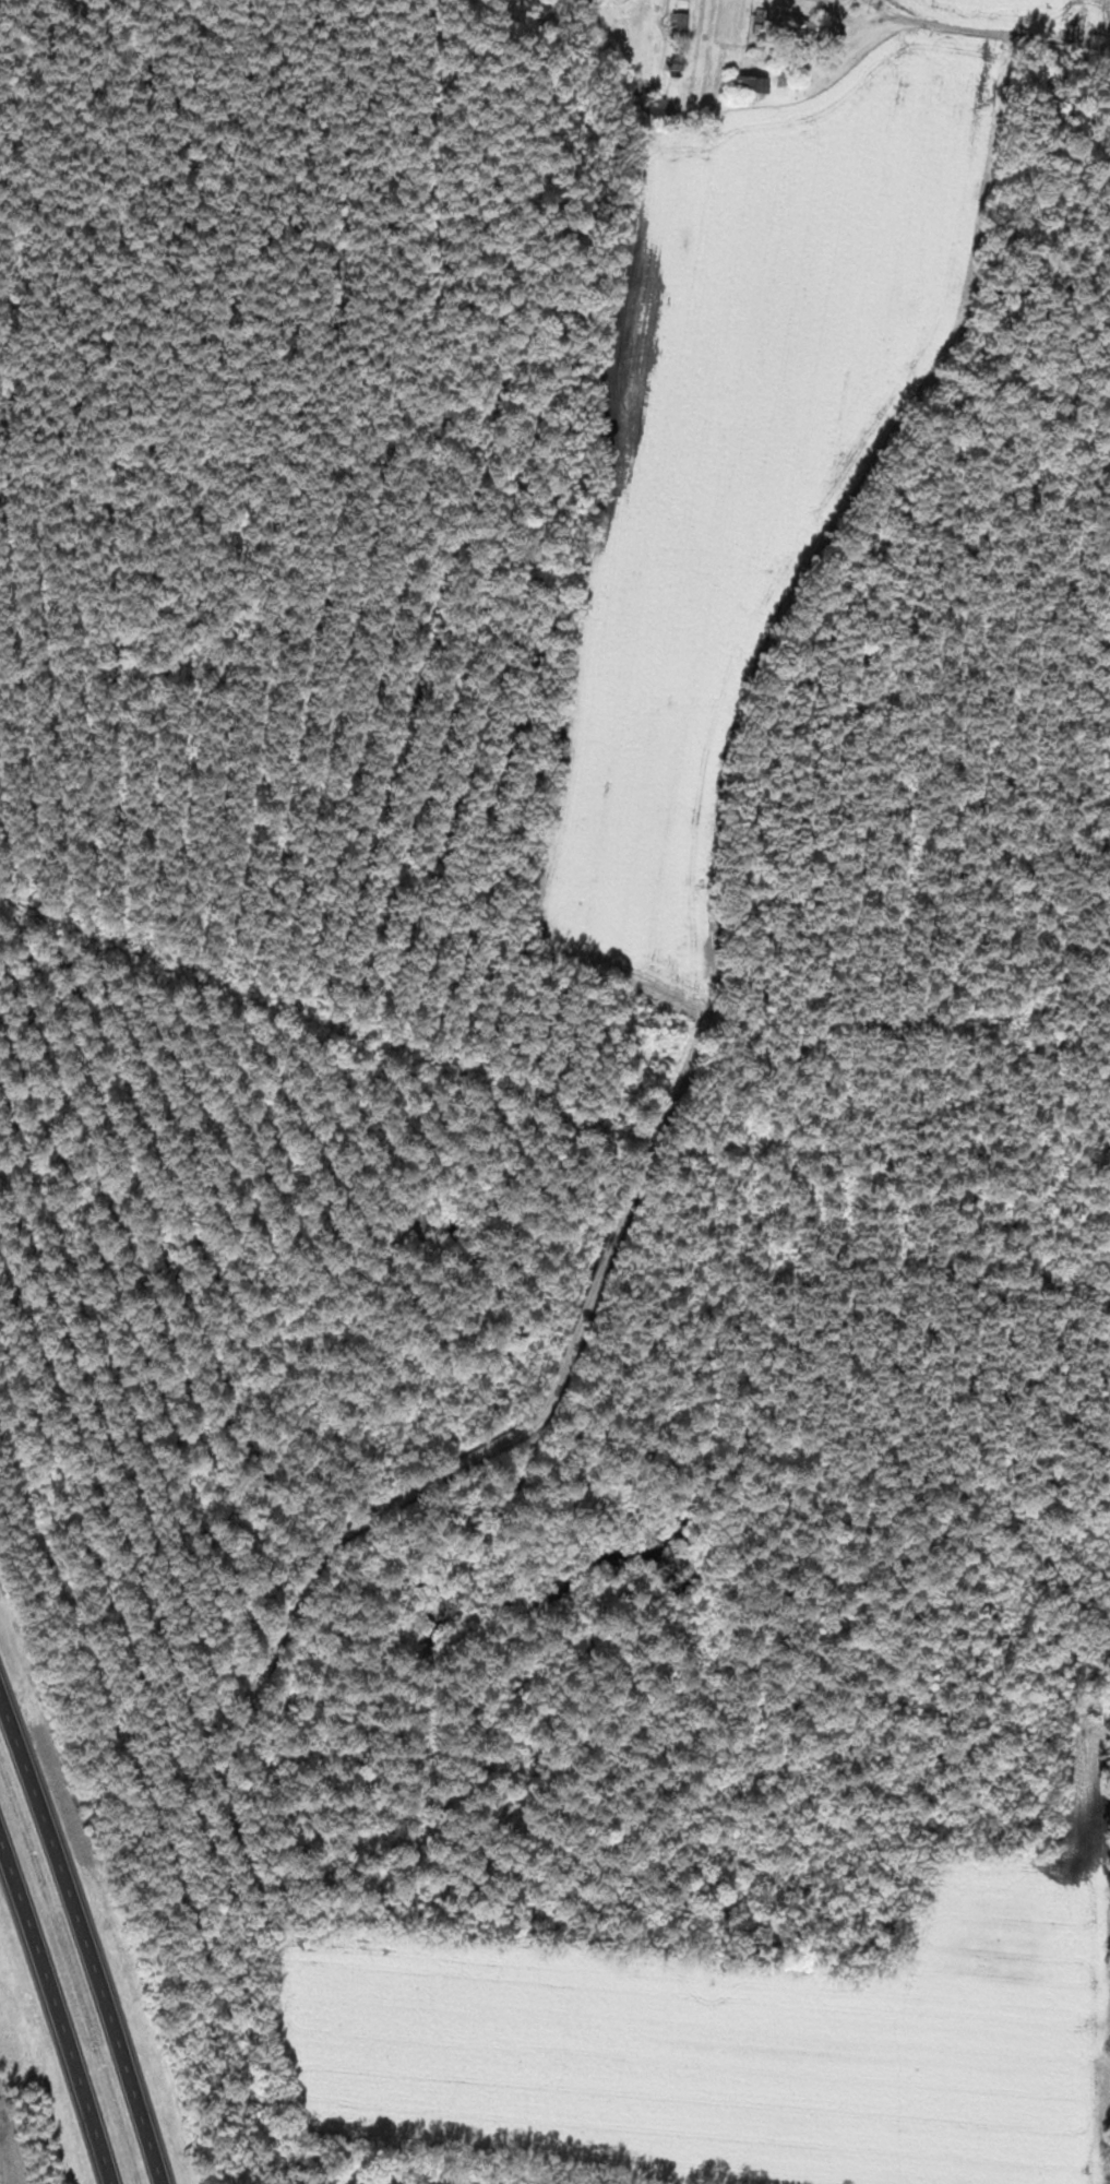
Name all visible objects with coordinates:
building: (809, 27)
road: (992, 33)
building: (757, 83)
road: (88, 1943)
road: (58, 2009)

